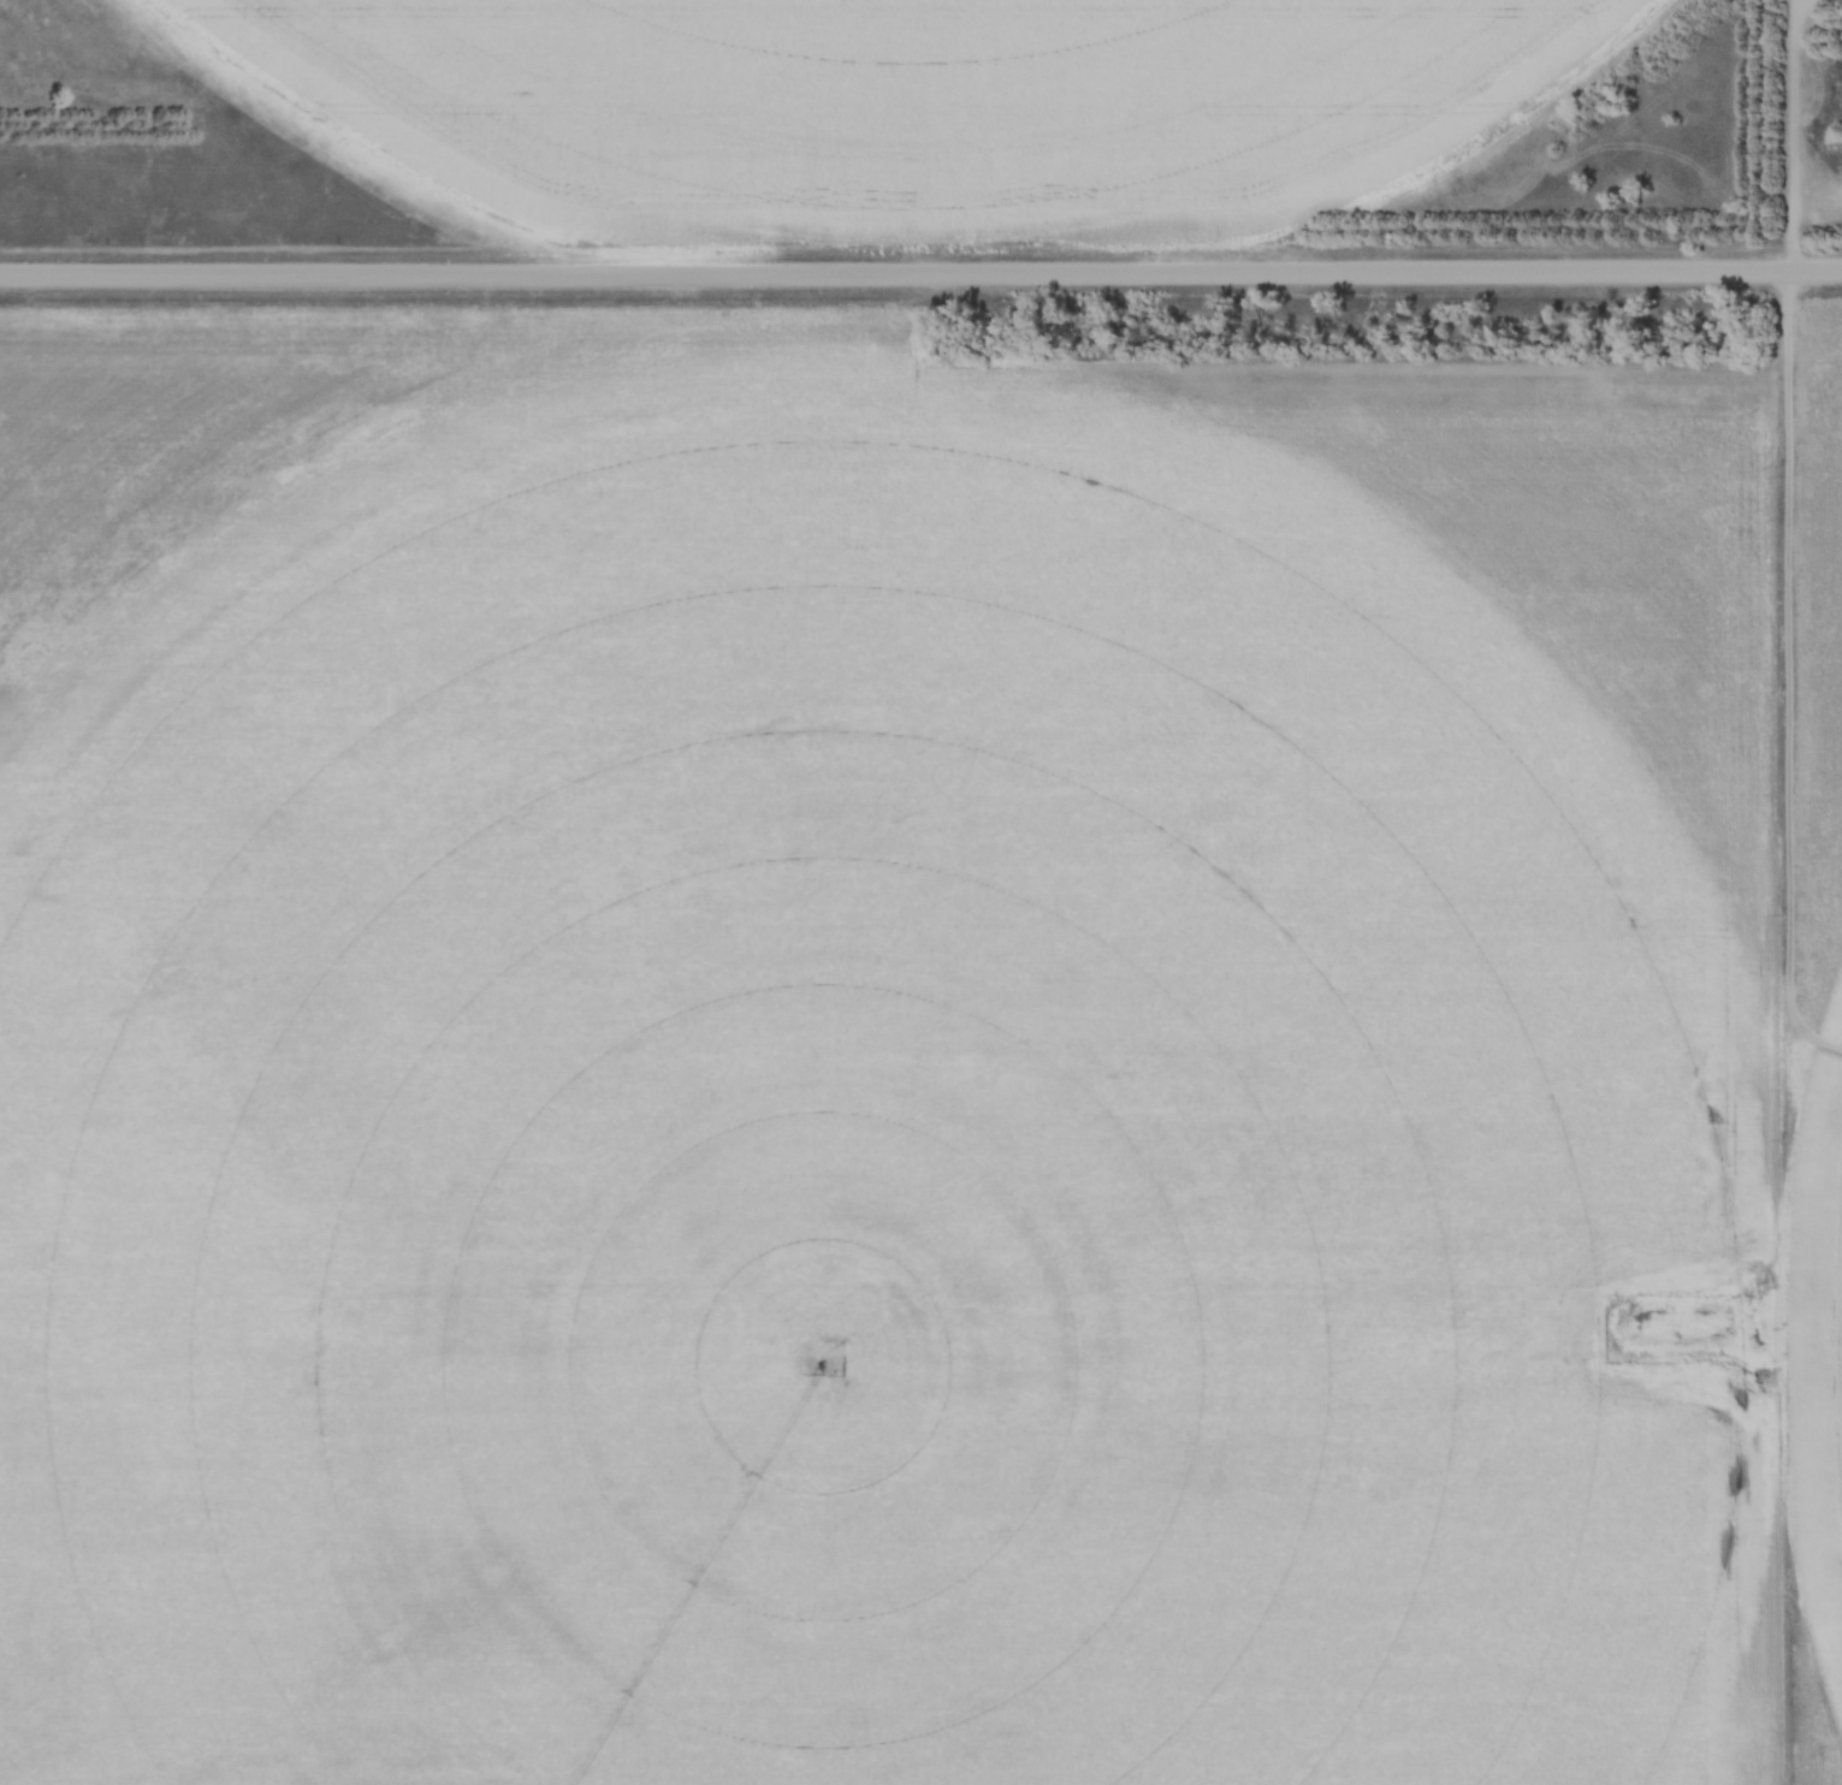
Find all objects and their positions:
road: (920, 278)

